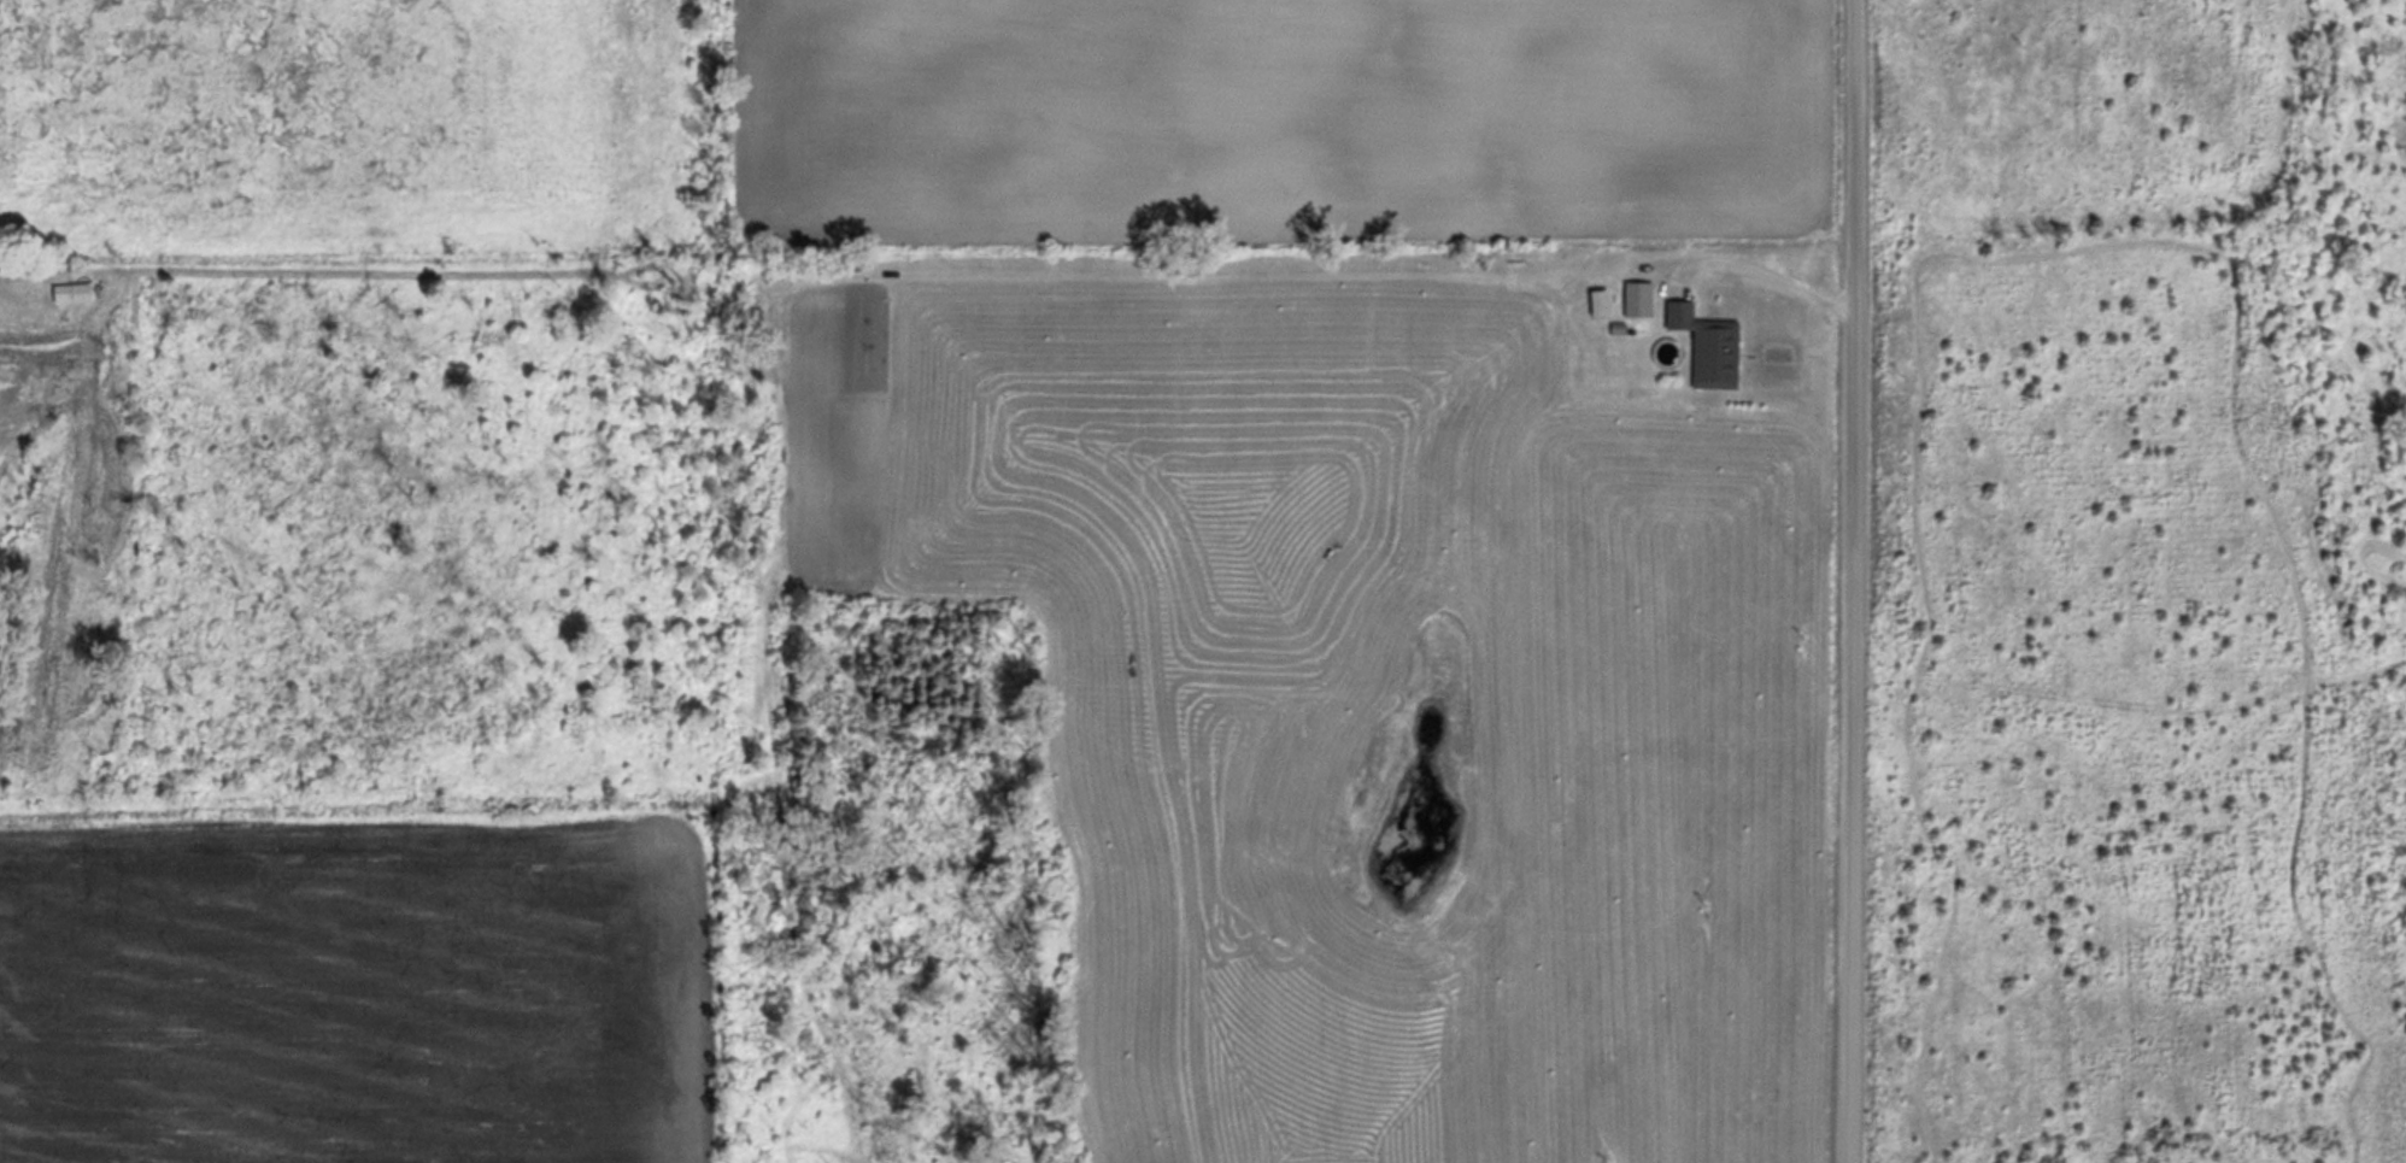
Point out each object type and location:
road: (1759, 274)
building: (70, 289)
building: (1637, 295)
building: (1707, 343)
road: (1853, 581)

